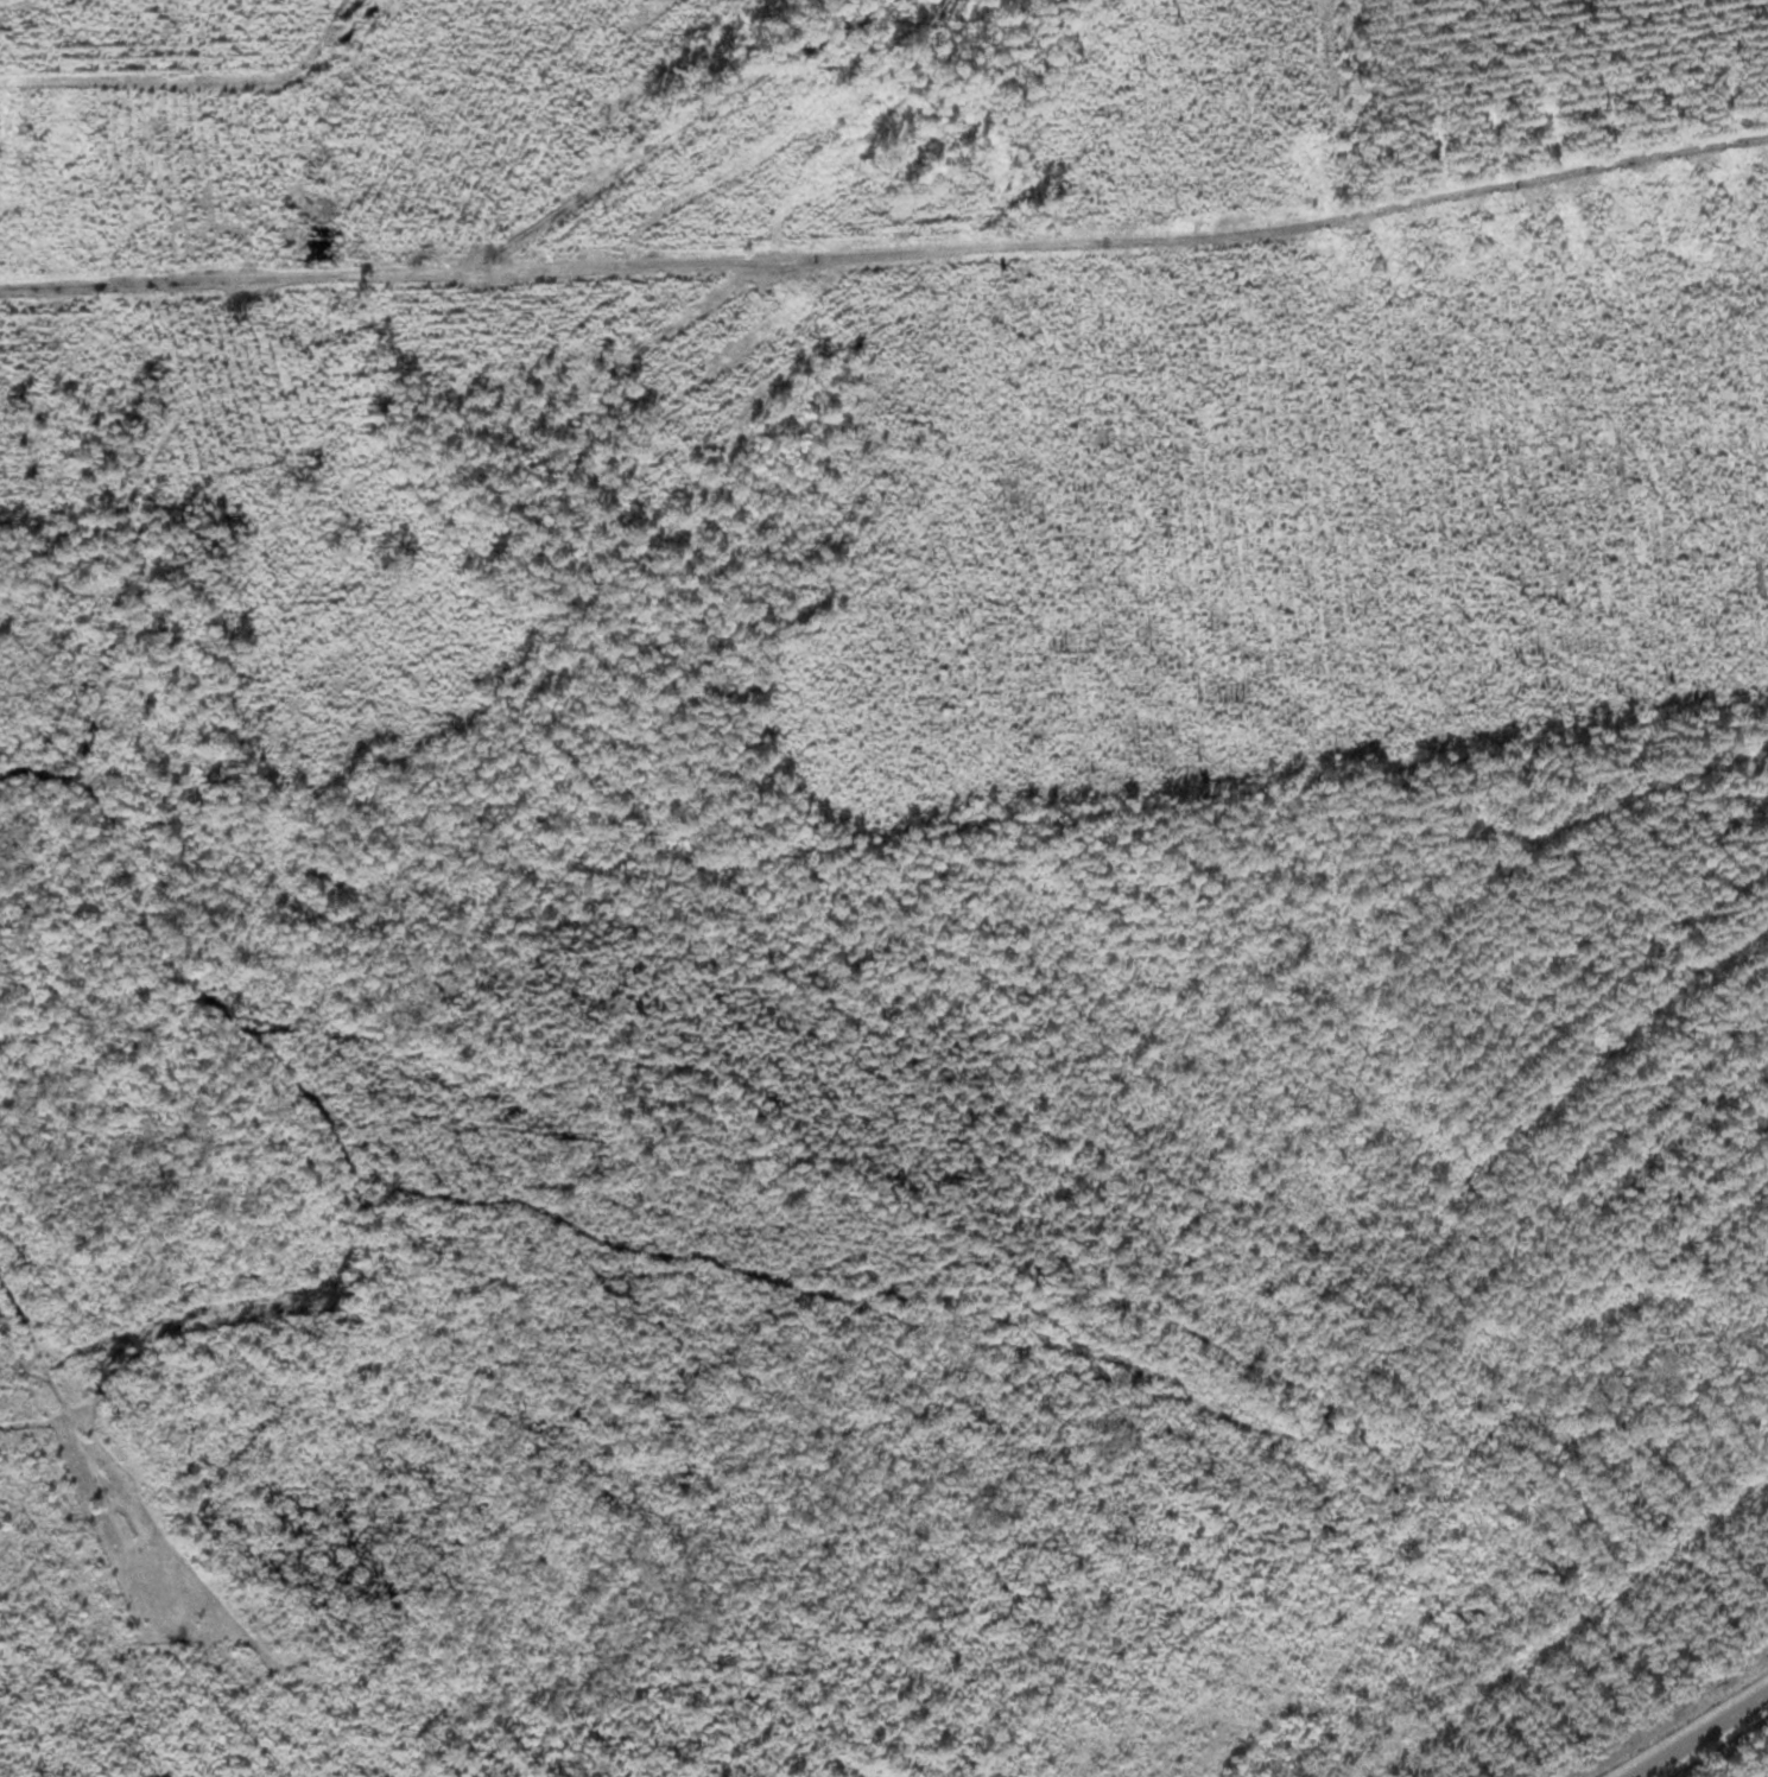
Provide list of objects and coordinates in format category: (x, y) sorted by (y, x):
road: (887, 240)
road: (1684, 1720)

